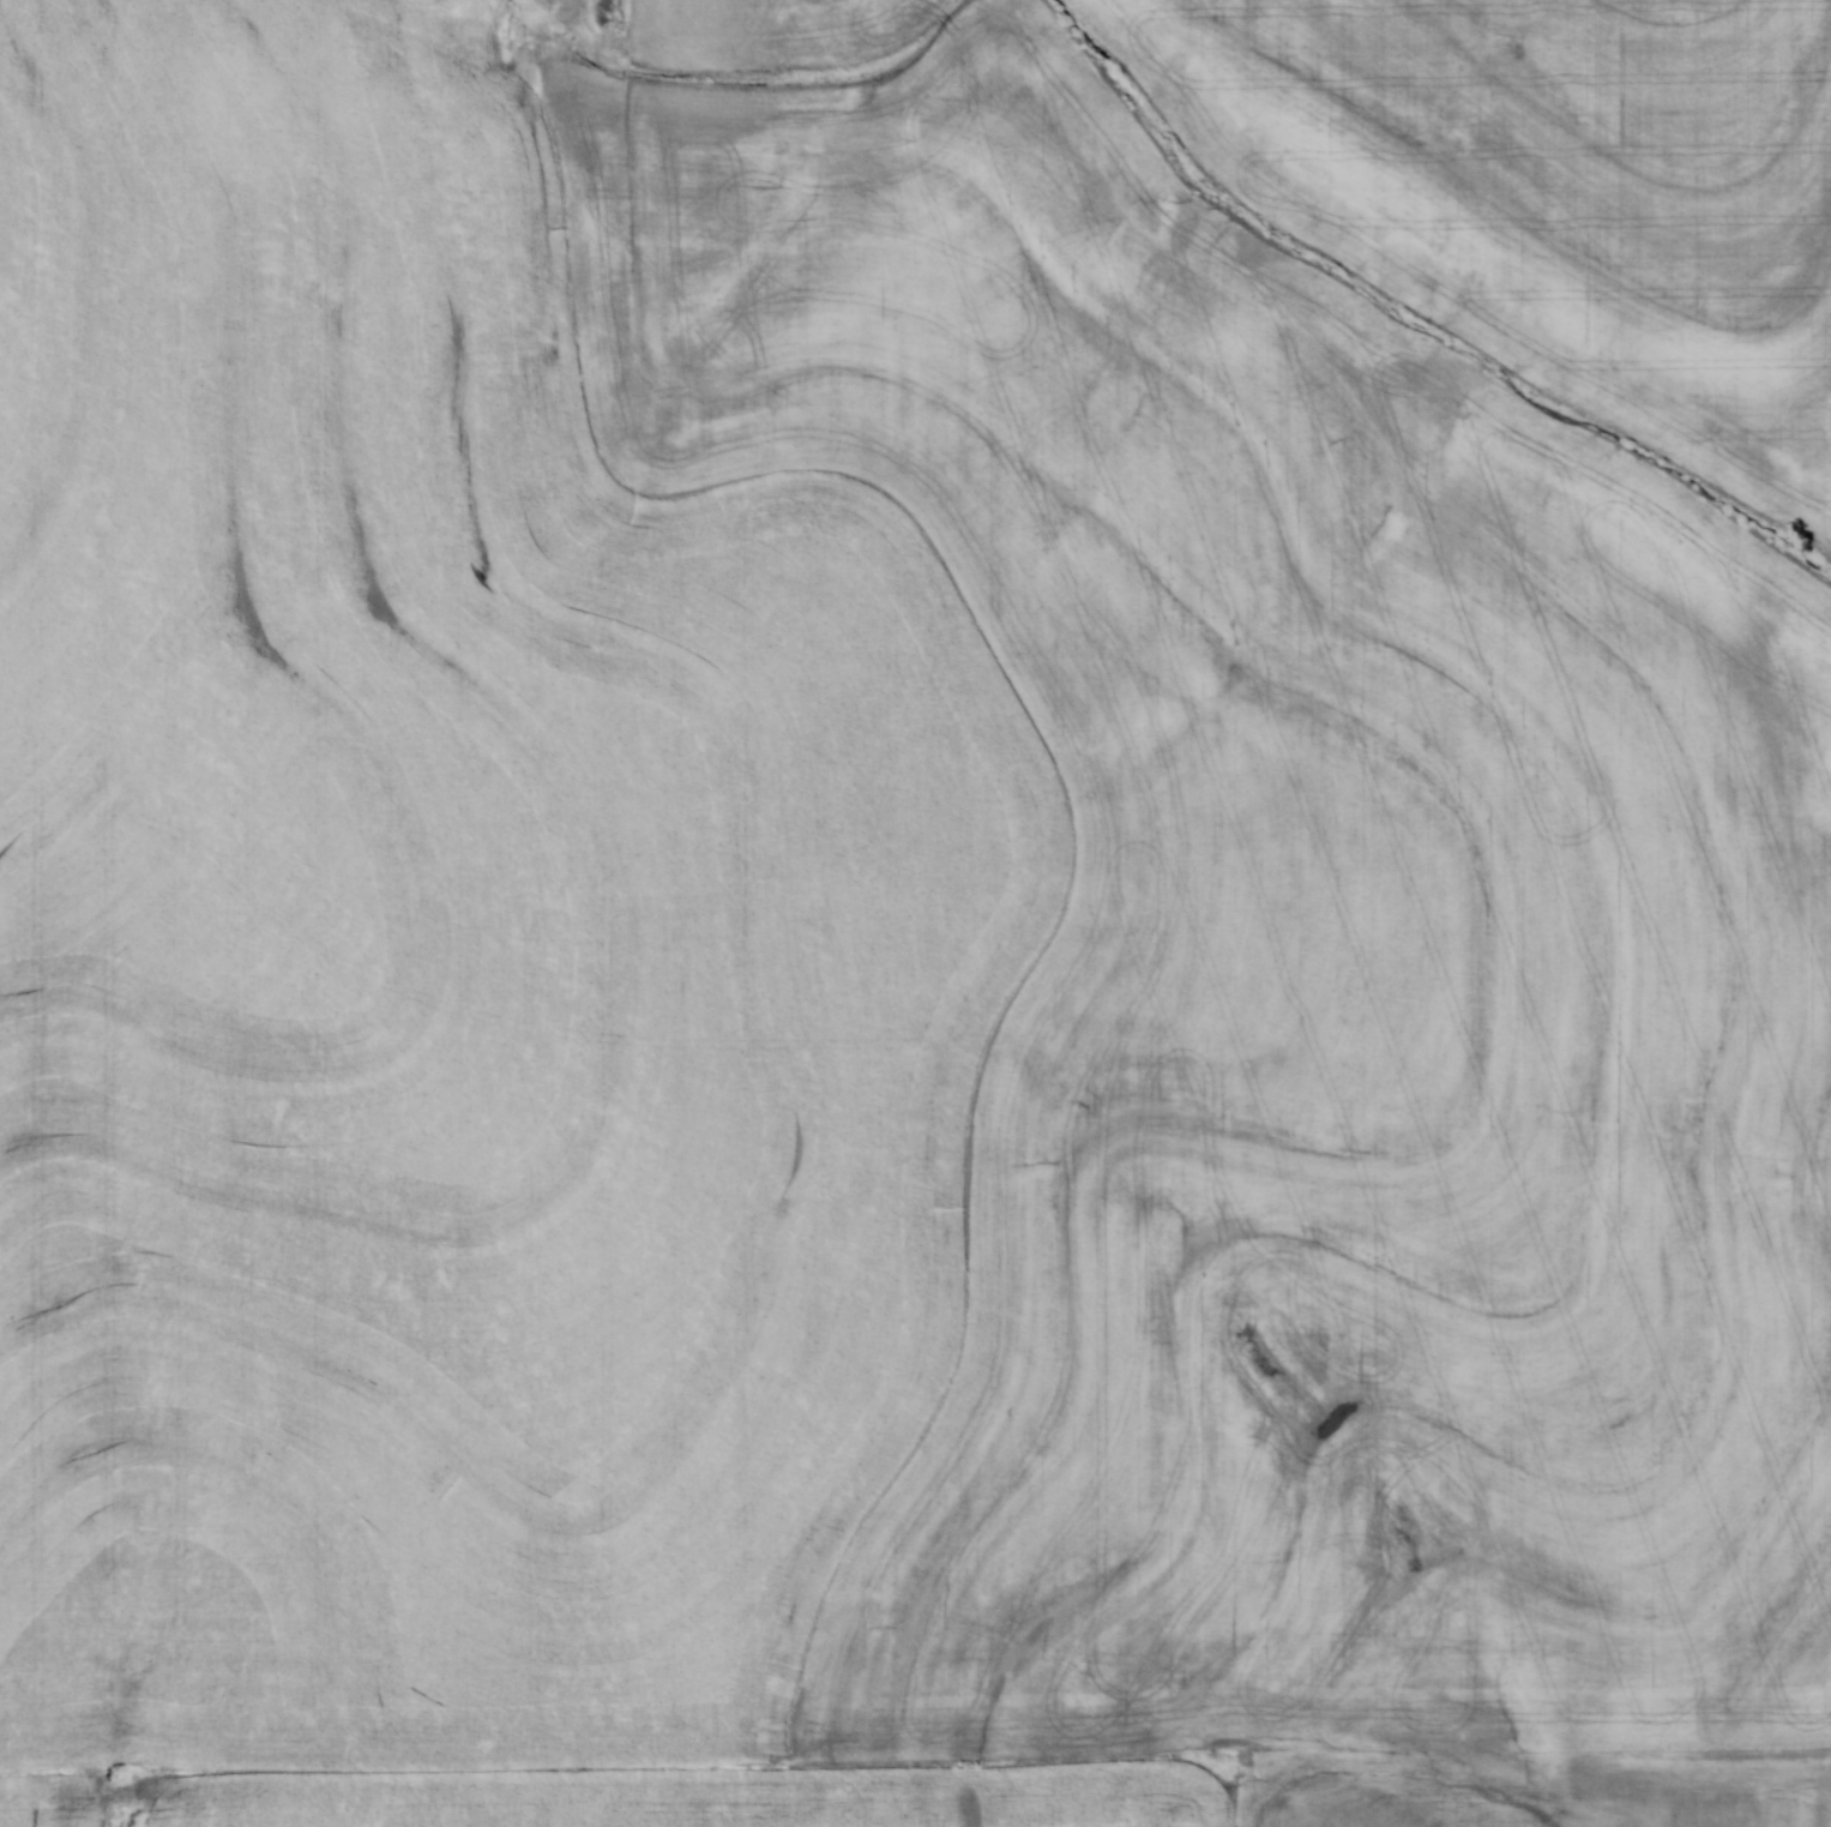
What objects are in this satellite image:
road: (610, 16)

